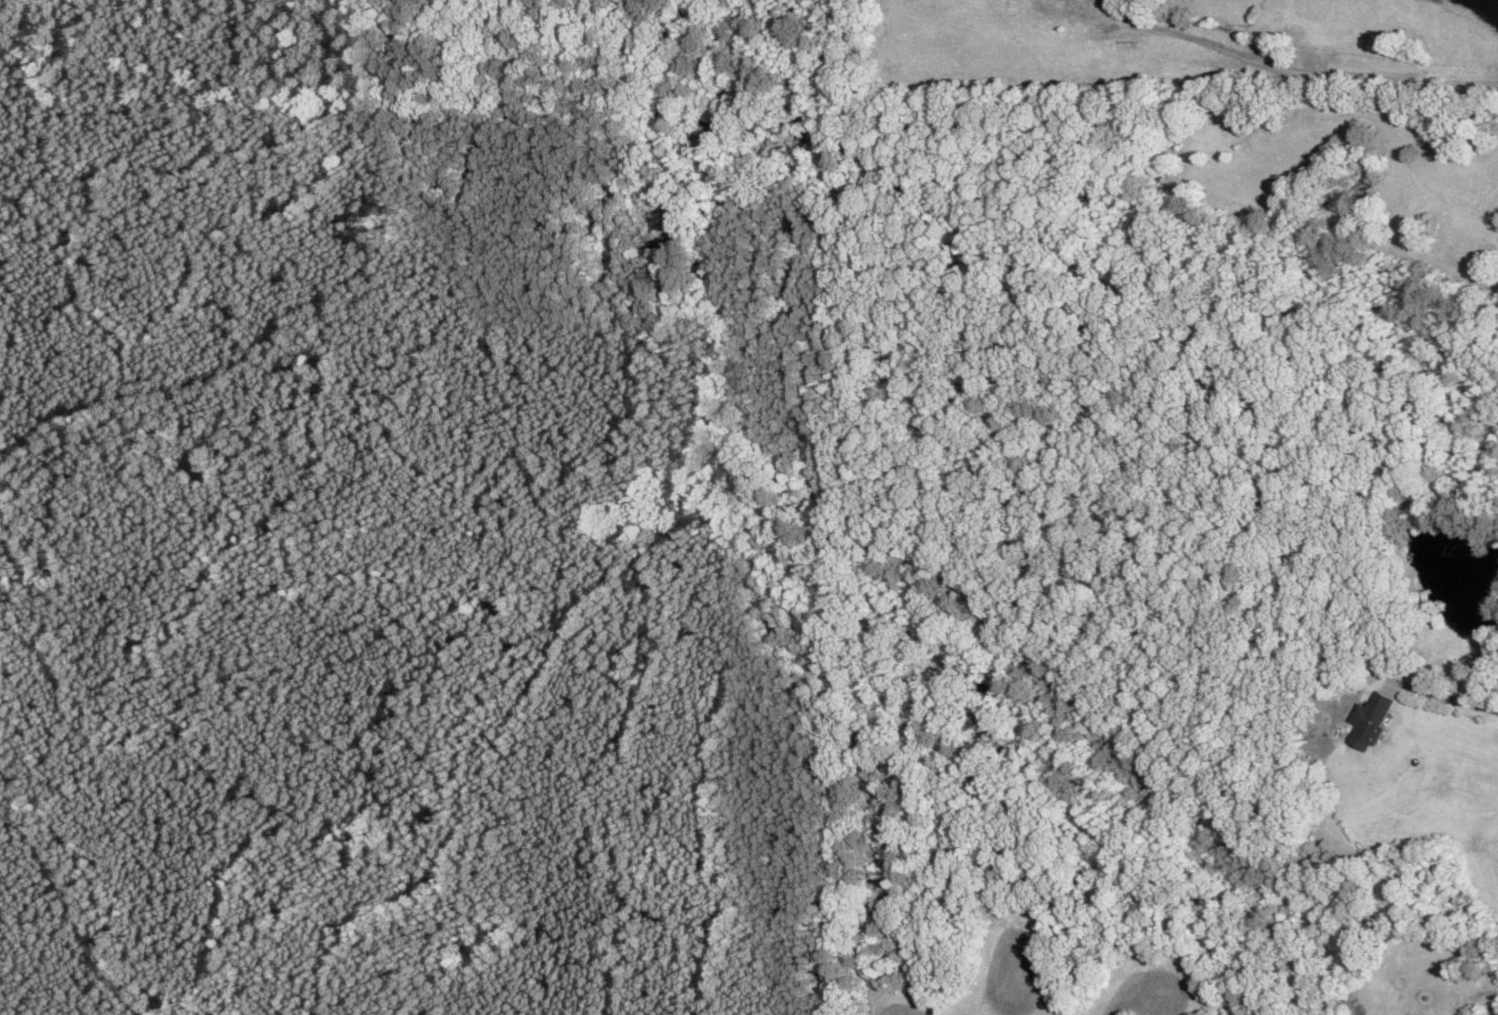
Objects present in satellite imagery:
building: (1371, 643)
road: (1450, 703)
building: (1371, 727)

